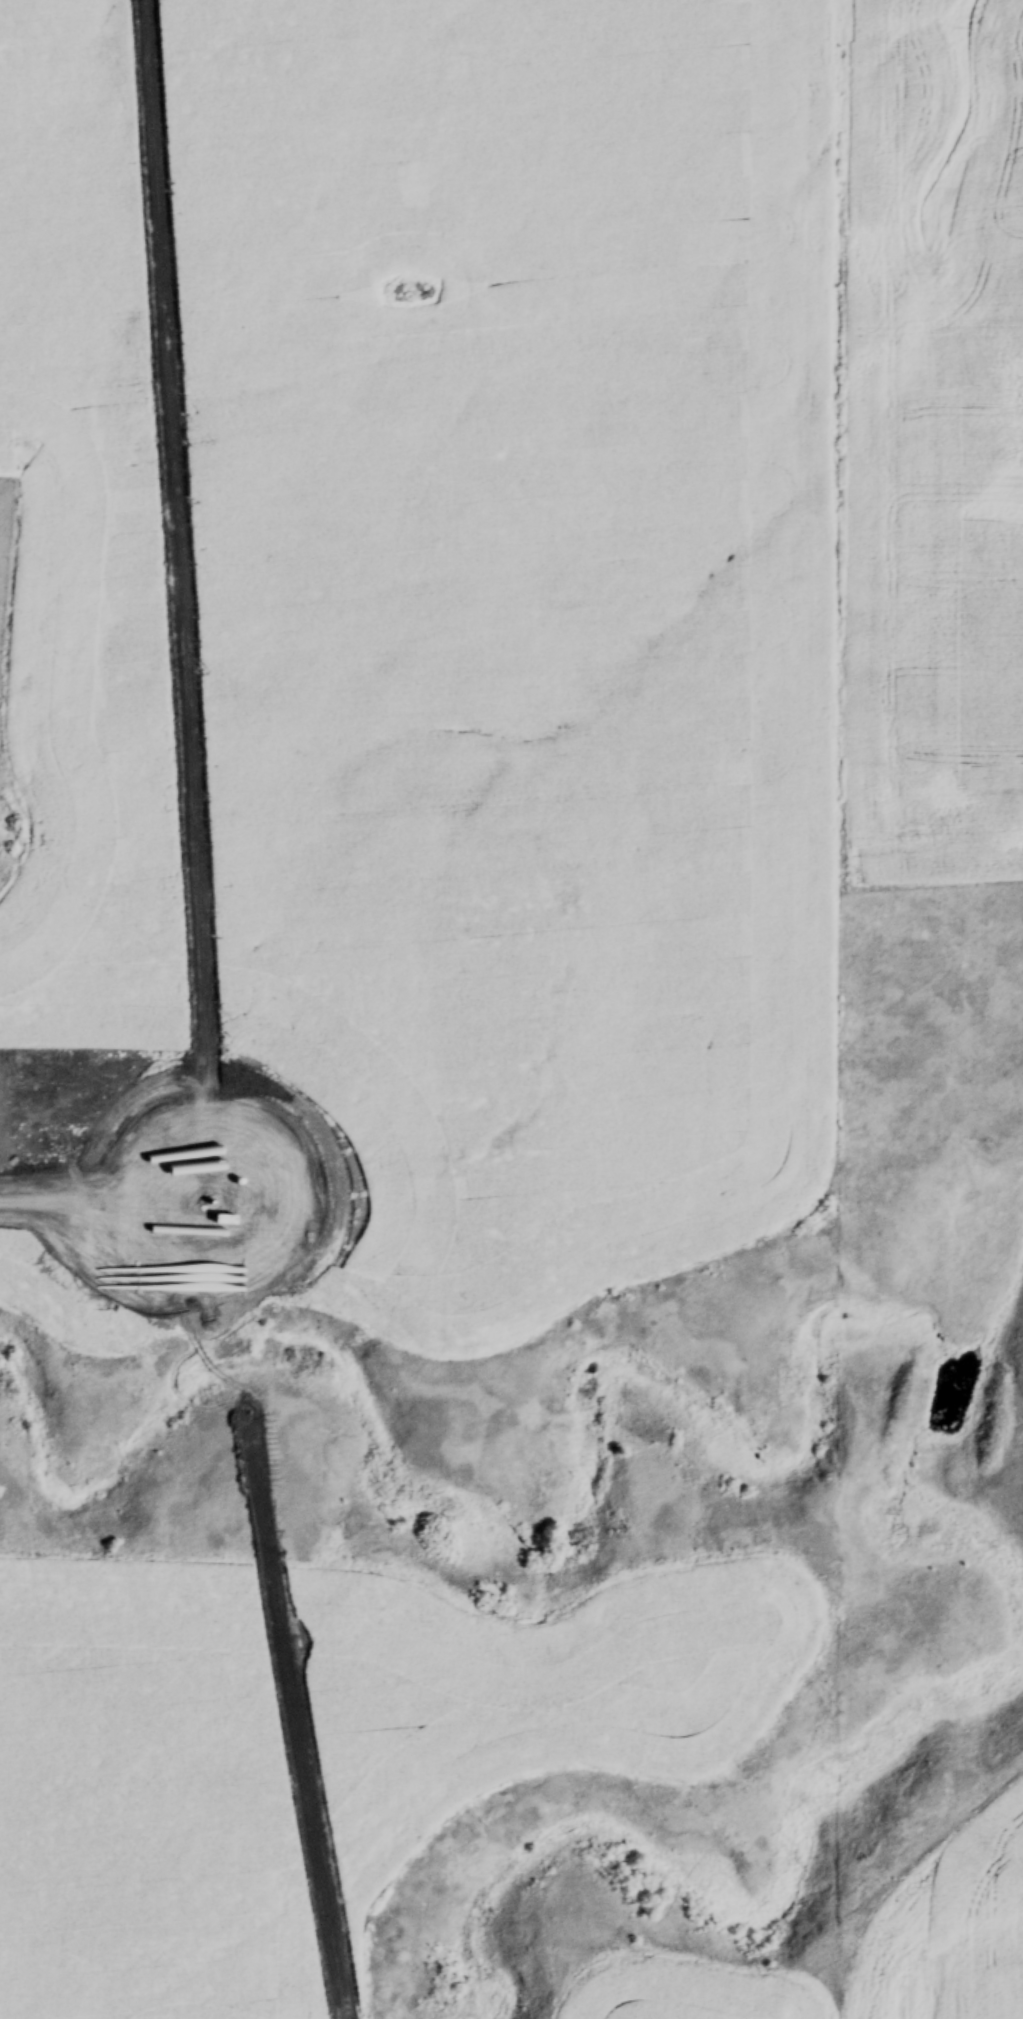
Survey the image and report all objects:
wind turbine: (198, 1197)
river: (969, 1369)
river: (947, 1371)
river: (951, 1420)

